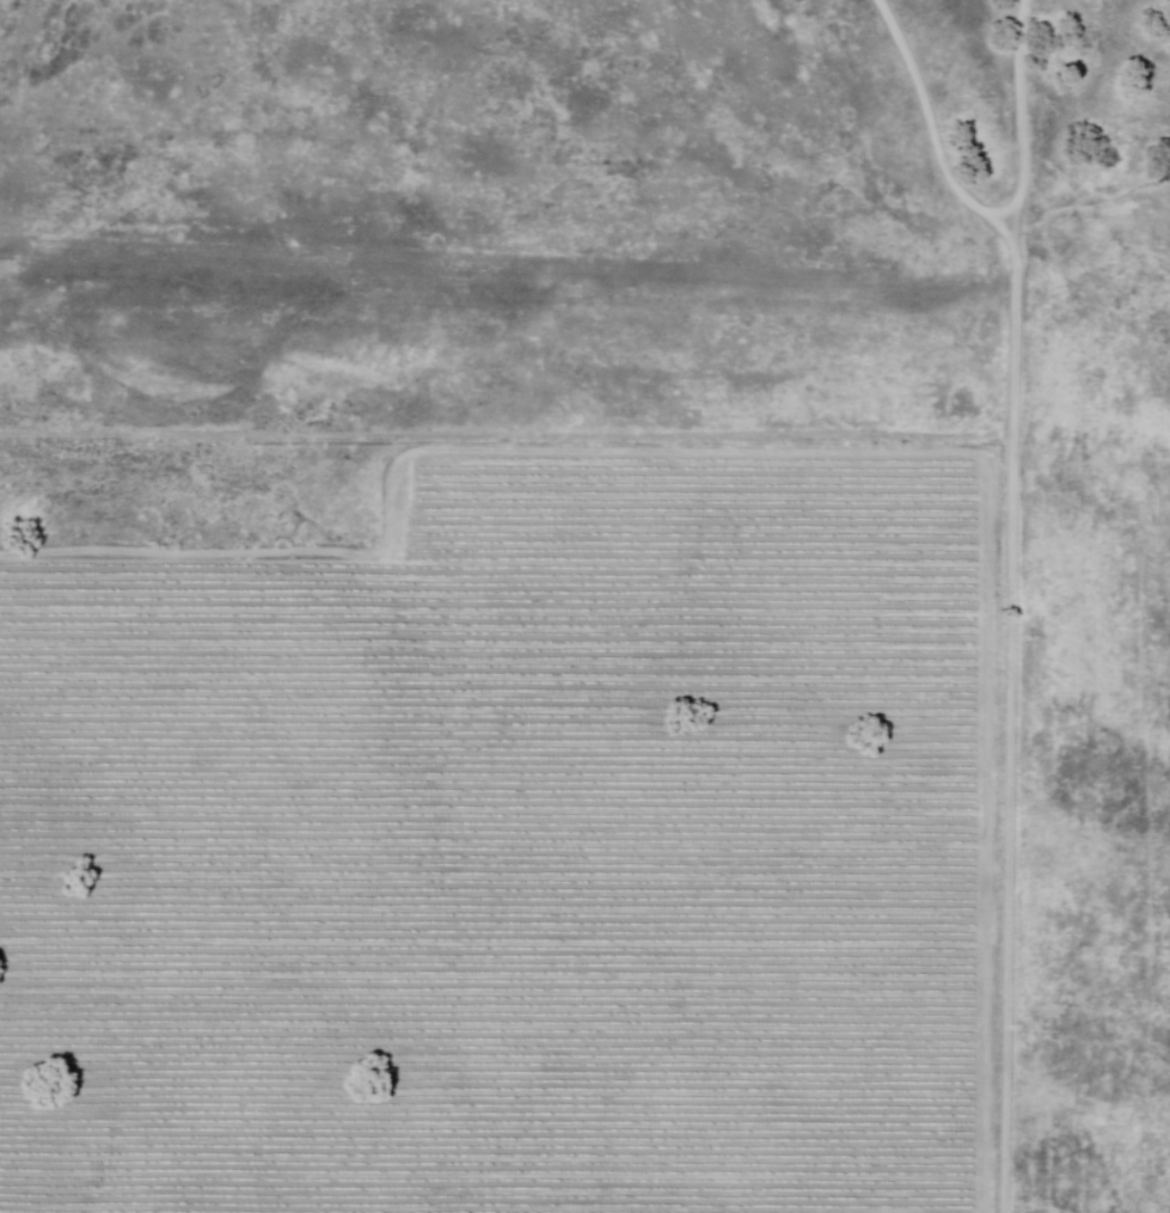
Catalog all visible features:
road: (927, 115)
road: (1011, 593)

